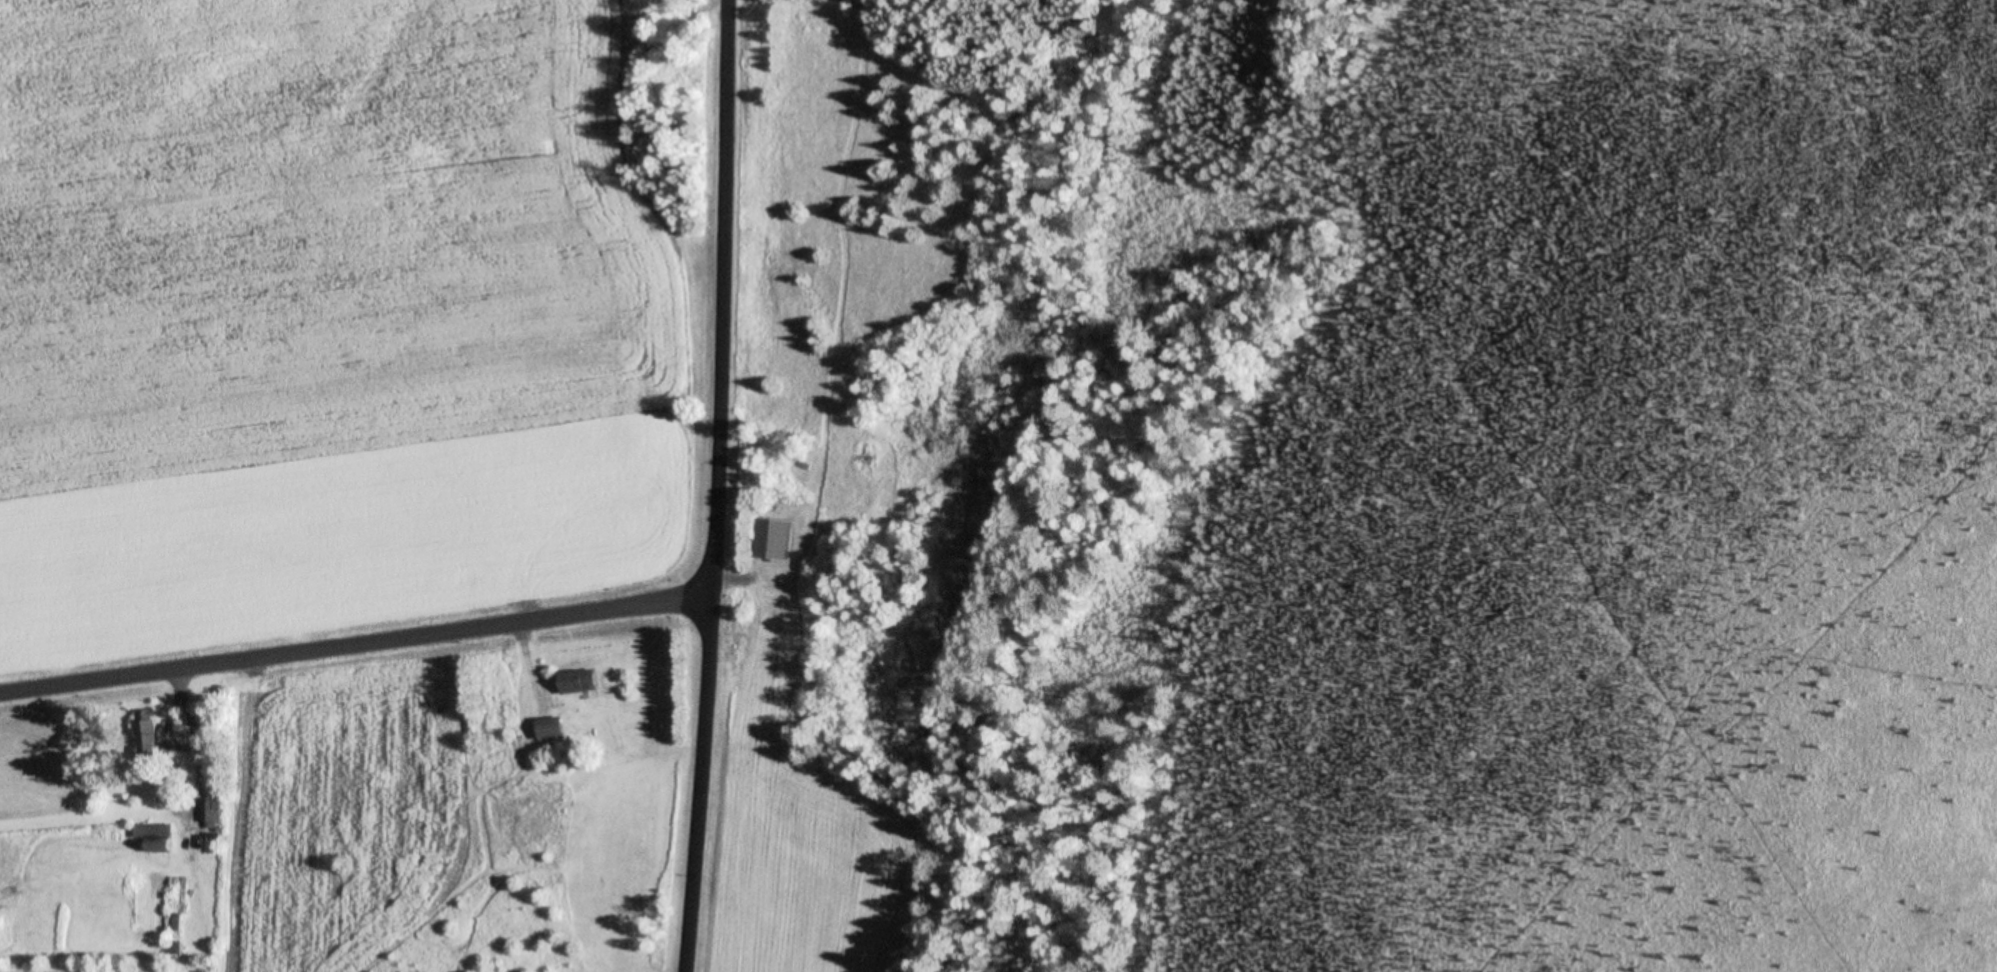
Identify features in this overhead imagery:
road: (720, 486)
building: (775, 540)
road: (358, 663)
building: (580, 681)
building: (150, 728)
building: (554, 728)
building: (216, 810)
building: (158, 837)
building: (178, 947)

